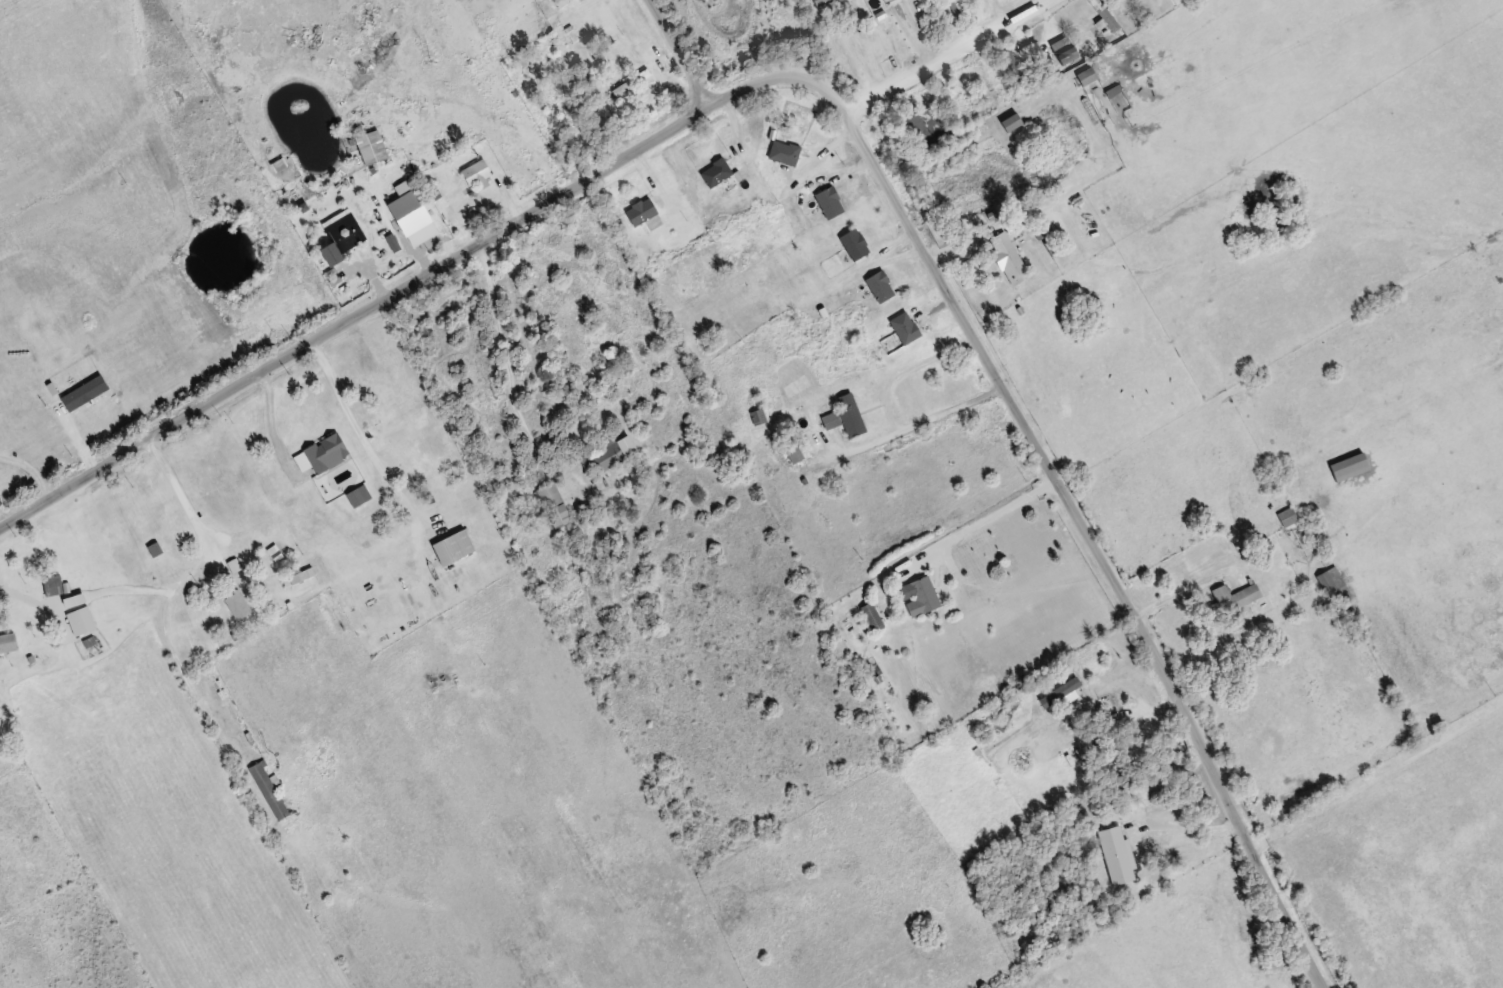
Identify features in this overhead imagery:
building: (817, 1)
building: (562, 3)
building: (959, 4)
building: (1105, 14)
building: (1064, 49)
road: (675, 51)
road: (944, 56)
building: (1014, 66)
building: (1087, 76)
building: (631, 82)
building: (911, 116)
road: (850, 120)
building: (1012, 122)
building: (371, 147)
building: (784, 152)
building: (716, 172)
building: (477, 174)
building: (830, 202)
building: (641, 210)
building: (343, 232)
building: (855, 244)
building: (1007, 257)
building: (880, 286)
building: (905, 327)
road: (644, 350)
building: (846, 416)
building: (793, 450)
building: (613, 453)
building: (323, 454)
building: (1349, 467)
building: (554, 504)
building: (454, 547)
building: (53, 585)
building: (1334, 586)
building: (921, 595)
building: (1234, 597)
building: (238, 606)
building: (872, 616)
building: (81, 620)
building: (7, 642)
building: (269, 790)
building: (1121, 851)
building: (329, 874)

